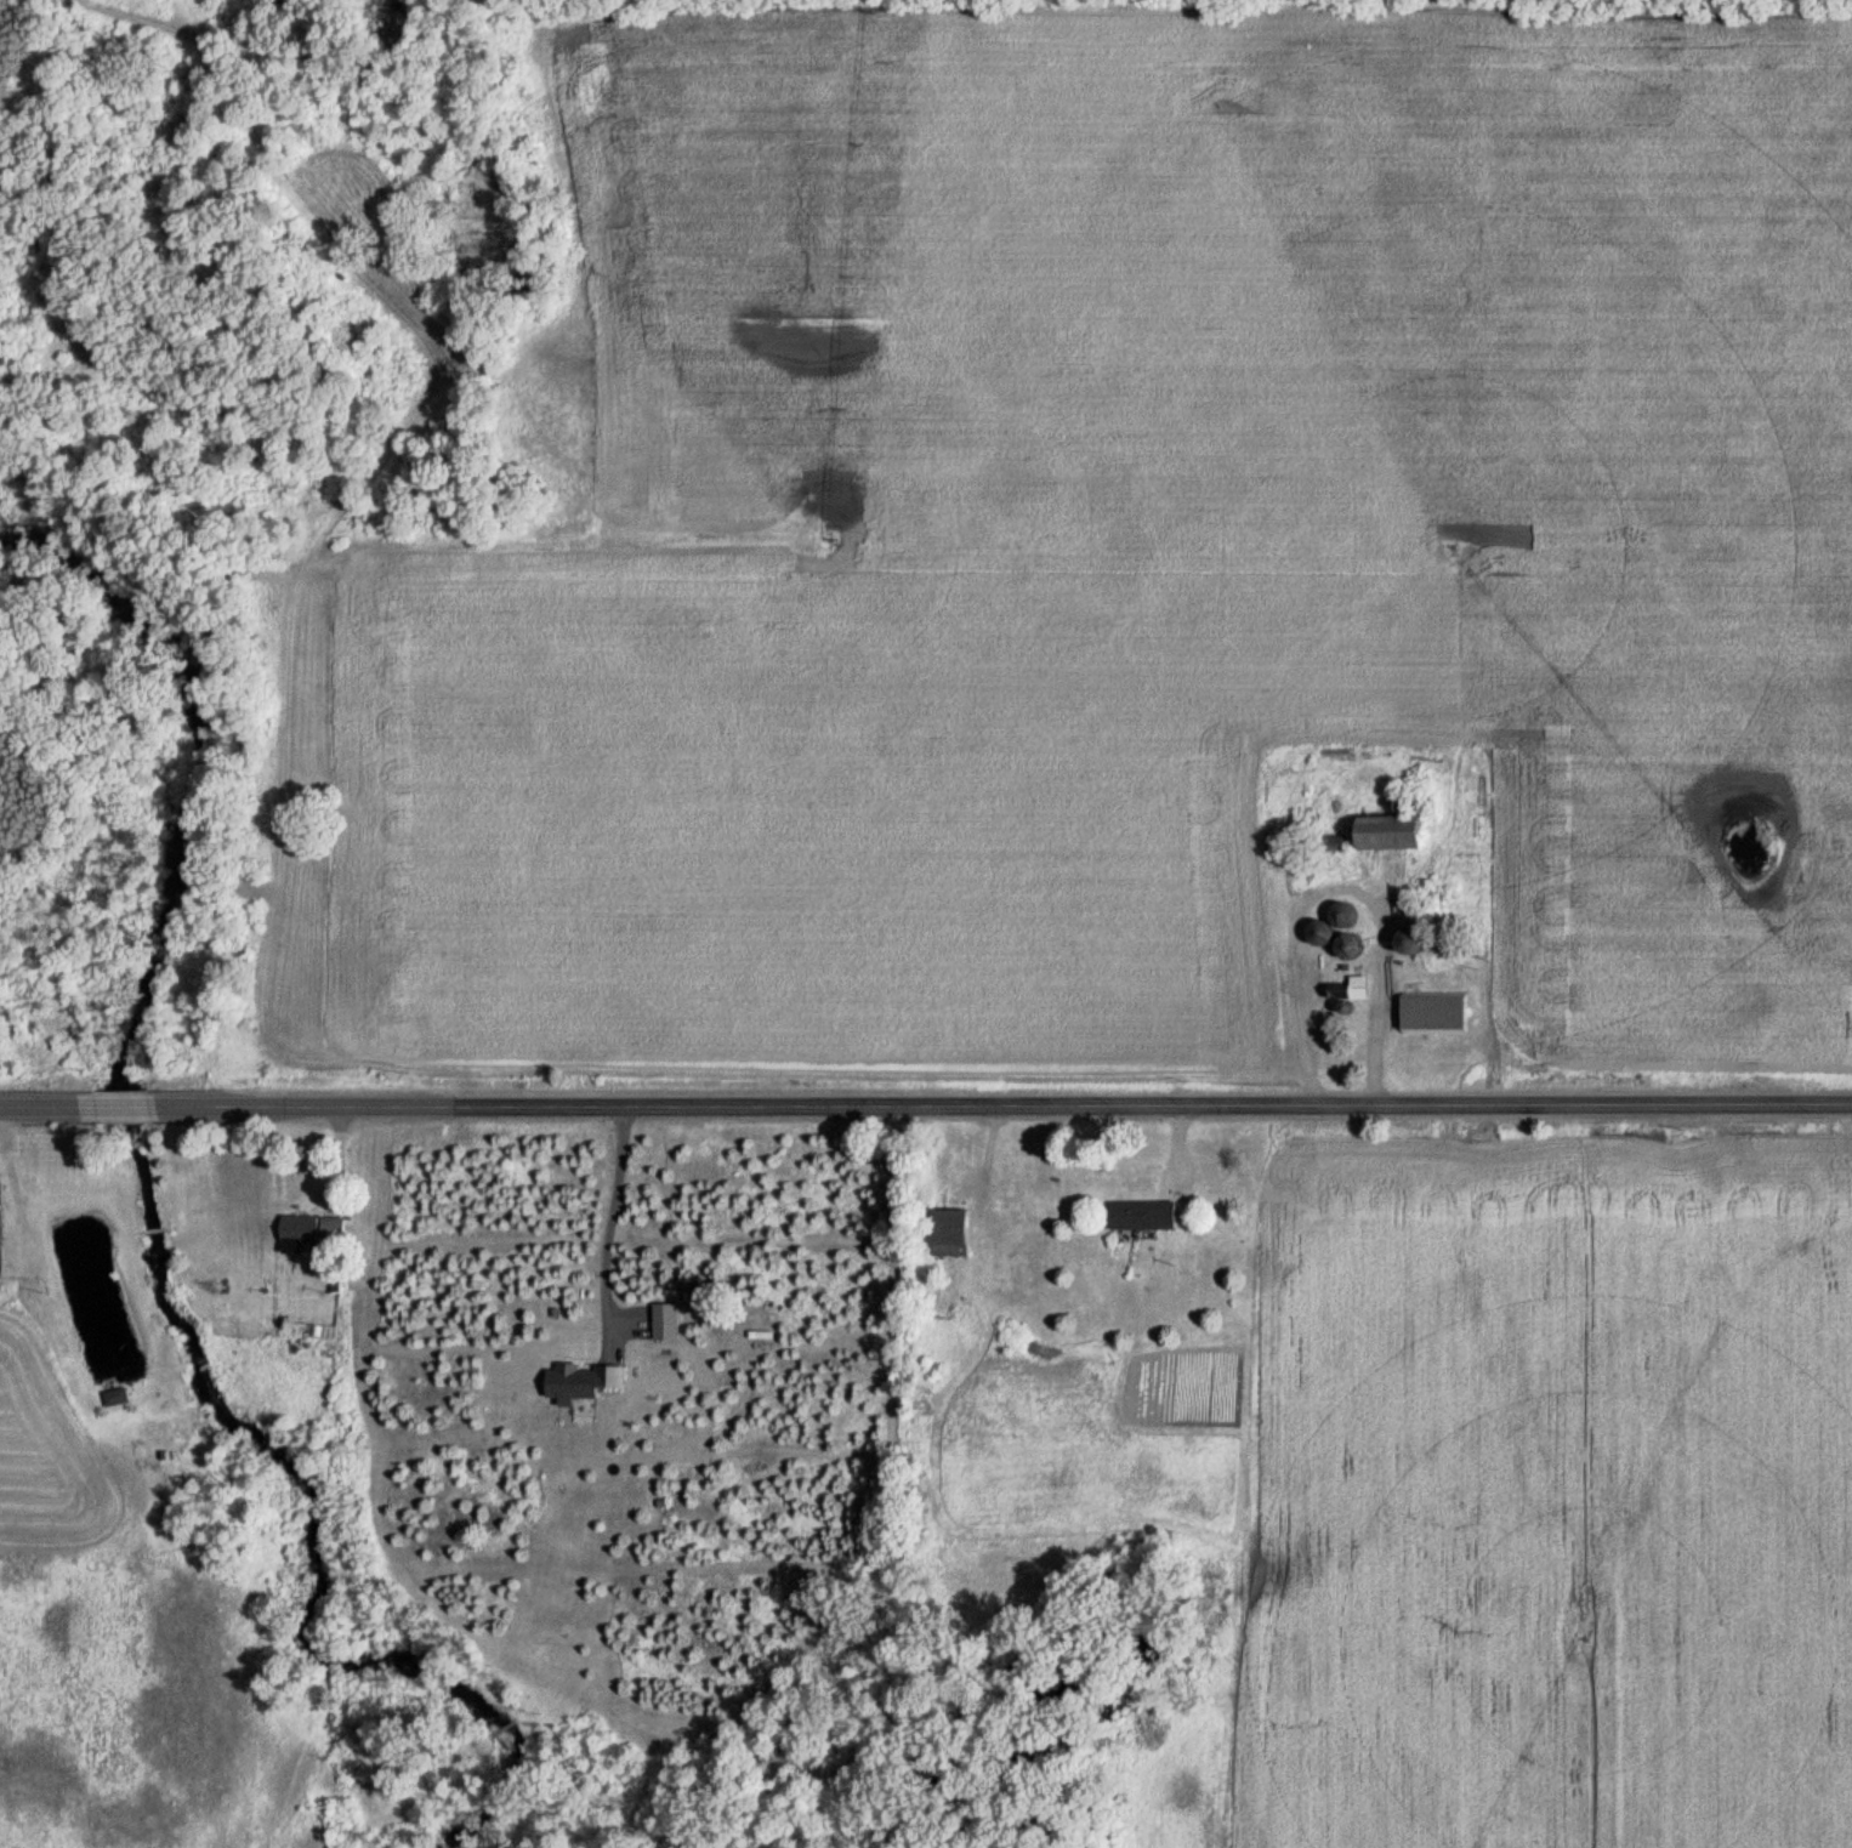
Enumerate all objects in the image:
building: (1380, 835)
road: (1330, 885)
building: (1341, 916)
building: (1320, 933)
building: (1356, 988)
building: (1431, 1013)
road: (925, 1105)
building: (1140, 1215)
road: (592, 1226)
building: (306, 1232)
building: (947, 1233)
building: (574, 1382)

